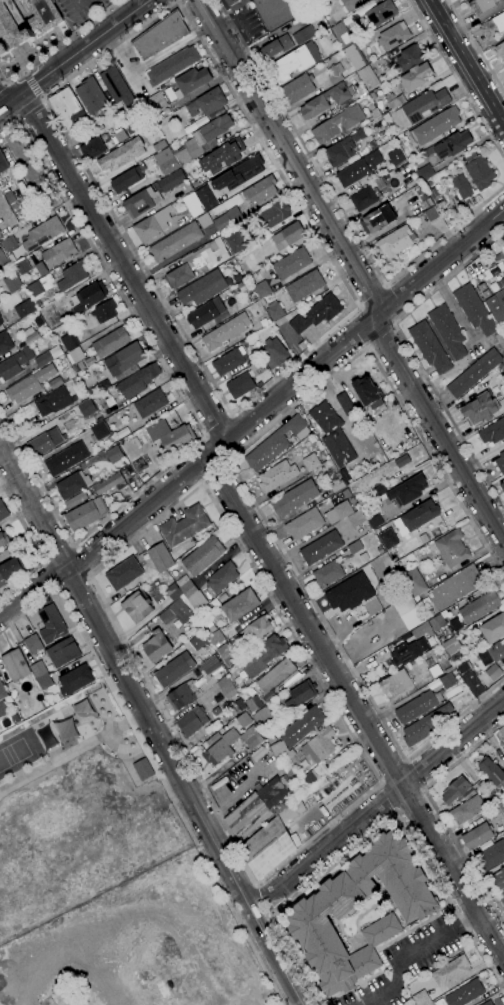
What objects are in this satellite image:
road: (178, 1)
building: (236, 4)
building: (352, 4)
building: (481, 6)
building: (381, 13)
building: (43, 15)
parking lot: (247, 23)
building: (493, 26)
road: (246, 27)
building: (12, 28)
building: (342, 34)
building: (160, 35)
building: (303, 35)
building: (393, 36)
road: (58, 44)
road: (476, 46)
building: (276, 47)
building: (500, 49)
road: (79, 50)
building: (355, 57)
building: (409, 58)
building: (294, 62)
road: (466, 62)
building: (172, 65)
road: (24, 72)
building: (335, 74)
building: (368, 77)
building: (416, 77)
road: (456, 78)
building: (192, 80)
road: (227, 82)
road: (32, 84)
road: (3, 85)
road: (1, 86)
building: (115, 86)
building: (298, 89)
building: (373, 95)
road: (41, 96)
building: (91, 96)
road: (41, 99)
road: (4, 100)
building: (326, 100)
building: (394, 100)
building: (154, 104)
building: (208, 104)
road: (4, 105)
building: (371, 106)
building: (421, 107)
road: (27, 108)
building: (67, 109)
building: (374, 114)
building: (386, 117)
road: (16, 119)
building: (364, 122)
building: (337, 124)
building: (435, 126)
building: (358, 135)
building: (202, 140)
building: (399, 141)
building: (453, 144)
building: (159, 145)
building: (93, 148)
building: (340, 152)
building: (121, 155)
building: (222, 156)
building: (396, 157)
building: (166, 161)
building: (3, 164)
building: (359, 169)
building: (478, 171)
building: (424, 172)
building: (240, 174)
building: (385, 177)
building: (126, 179)
building: (172, 180)
building: (195, 184)
building: (462, 186)
building: (260, 190)
building: (205, 196)
building: (10, 197)
building: (436, 197)
building: (364, 198)
building: (141, 202)
building: (192, 204)
building: (15, 207)
road: (340, 208)
building: (273, 215)
building: (432, 215)
building: (227, 219)
building: (378, 219)
building: (204, 220)
building: (152, 225)
building: (42, 233)
building: (288, 236)
building: (503, 237)
building: (176, 241)
building: (235, 241)
building: (396, 241)
building: (9, 244)
building: (503, 247)
building: (58, 253)
building: (3, 261)
building: (197, 262)
building: (291, 263)
building: (503, 263)
building: (21, 267)
building: (41, 268)
road: (357, 270)
road: (105, 271)
building: (72, 275)
building: (503, 275)
building: (12, 283)
building: (243, 285)
building: (40, 286)
building: (304, 286)
building: (482, 287)
building: (202, 288)
building: (262, 289)
building: (485, 293)
building: (90, 296)
building: (38, 303)
building: (496, 305)
building: (24, 308)
building: (474, 309)
building: (274, 310)
building: (104, 311)
building: (206, 313)
building: (317, 313)
building: (50, 315)
building: (0, 316)
building: (1, 322)
building: (263, 322)
road: (179, 327)
building: (226, 331)
building: (448, 331)
building: (29, 335)
building: (69, 341)
building: (5, 342)
building: (110, 342)
building: (246, 343)
building: (429, 347)
building: (275, 353)
road: (410, 355)
building: (48, 356)
building: (75, 356)
building: (124, 359)
building: (229, 361)
building: (14, 364)
building: (69, 373)
building: (474, 373)
building: (74, 381)
building: (137, 381)
building: (55, 383)
building: (29, 384)
building: (240, 385)
road: (285, 390)
building: (92, 391)
building: (368, 394)
building: (53, 401)
building: (150, 404)
building: (85, 408)
building: (479, 409)
building: (347, 410)
road: (230, 416)
building: (325, 418)
road: (219, 429)
building: (98, 431)
building: (492, 432)
building: (110, 438)
road: (206, 438)
building: (177, 439)
building: (44, 442)
building: (273, 444)
building: (114, 454)
building: (66, 458)
road: (227, 460)
building: (311, 462)
building: (500, 462)
building: (138, 465)
road: (228, 465)
road: (235, 472)
road: (216, 473)
building: (276, 475)
road: (201, 480)
road: (203, 481)
building: (348, 482)
building: (107, 483)
building: (72, 484)
building: (338, 486)
building: (502, 487)
building: (380, 490)
building: (408, 490)
building: (346, 493)
building: (294, 498)
building: (75, 500)
road: (33, 507)
building: (3, 511)
building: (338, 512)
building: (86, 514)
building: (416, 518)
building: (375, 522)
building: (304, 524)
building: (184, 525)
road: (249, 528)
building: (388, 539)
building: (3, 540)
road: (80, 540)
building: (354, 547)
road: (35, 548)
building: (321, 548)
building: (452, 548)
building: (380, 550)
building: (203, 556)
building: (160, 557)
building: (10, 569)
building: (124, 573)
building: (328, 573)
building: (222, 577)
building: (182, 581)
building: (414, 582)
building: (455, 587)
road: (31, 590)
building: (350, 593)
building: (192, 595)
building: (222, 597)
building: (240, 605)
building: (480, 606)
building: (137, 607)
building: (180, 611)
building: (408, 611)
building: (166, 616)
building: (437, 623)
building: (51, 624)
building: (455, 624)
building: (210, 626)
building: (258, 628)
building: (493, 628)
building: (422, 630)
building: (405, 636)
building: (216, 637)
building: (197, 641)
building: (33, 644)
building: (156, 646)
building: (451, 646)
building: (63, 652)
building: (407, 652)
building: (497, 652)
building: (226, 654)
building: (263, 656)
building: (15, 665)
building: (174, 670)
building: (494, 670)
building: (434, 671)
building: (41, 675)
building: (276, 675)
building: (75, 679)
building: (447, 680)
building: (395, 682)
building: (472, 684)
building: (195, 685)
building: (226, 687)
building: (300, 695)
building: (56, 698)
building: (3, 701)
building: (253, 703)
building: (44, 704)
building: (240, 704)
building: (417, 706)
building: (216, 711)
building: (262, 716)
building: (242, 719)
building: (192, 721)
building: (301, 726)
building: (64, 729)
building: (417, 731)
building: (271, 738)
road: (158, 739)
building: (252, 742)
road: (452, 743)
building: (278, 749)
building: (217, 752)
building: (258, 753)
building: (290, 754)
building: (318, 754)
road: (152, 764)
building: (503, 767)
building: (491, 771)
road: (373, 786)
building: (456, 790)
building: (502, 791)
building: (499, 795)
building: (284, 797)
building: (255, 809)
building: (467, 810)
building: (496, 810)
road: (395, 812)
road: (436, 813)
road: (376, 829)
building: (477, 836)
building: (295, 839)
building: (272, 841)
road: (325, 847)
building: (491, 855)
building: (498, 879)
building: (502, 897)
building: (309, 914)
road: (410, 952)
road: (275, 957)
building: (452, 972)
building: (465, 993)
building: (419, 995)
building: (488, 1003)

